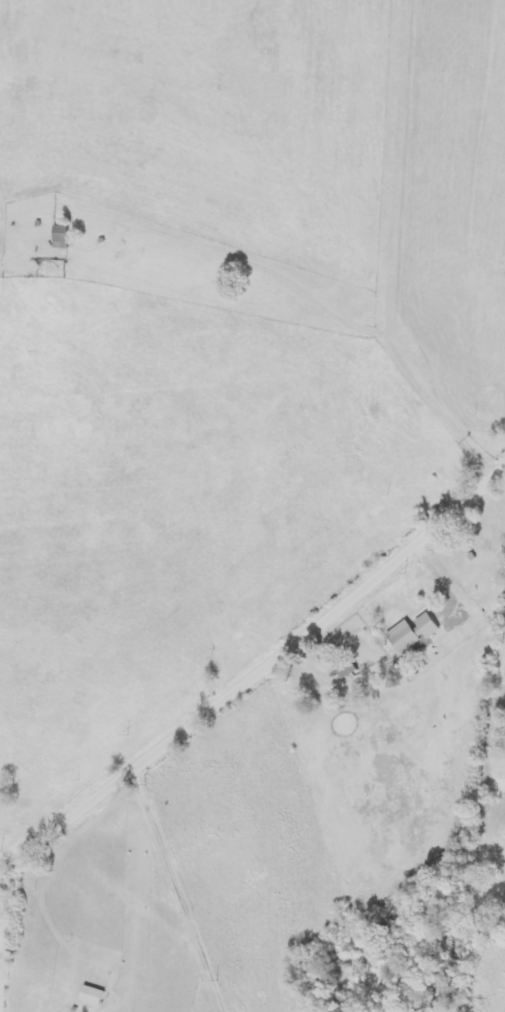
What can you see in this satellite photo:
building: (61, 238)
building: (414, 632)
building: (346, 668)
road: (255, 678)
building: (93, 996)

